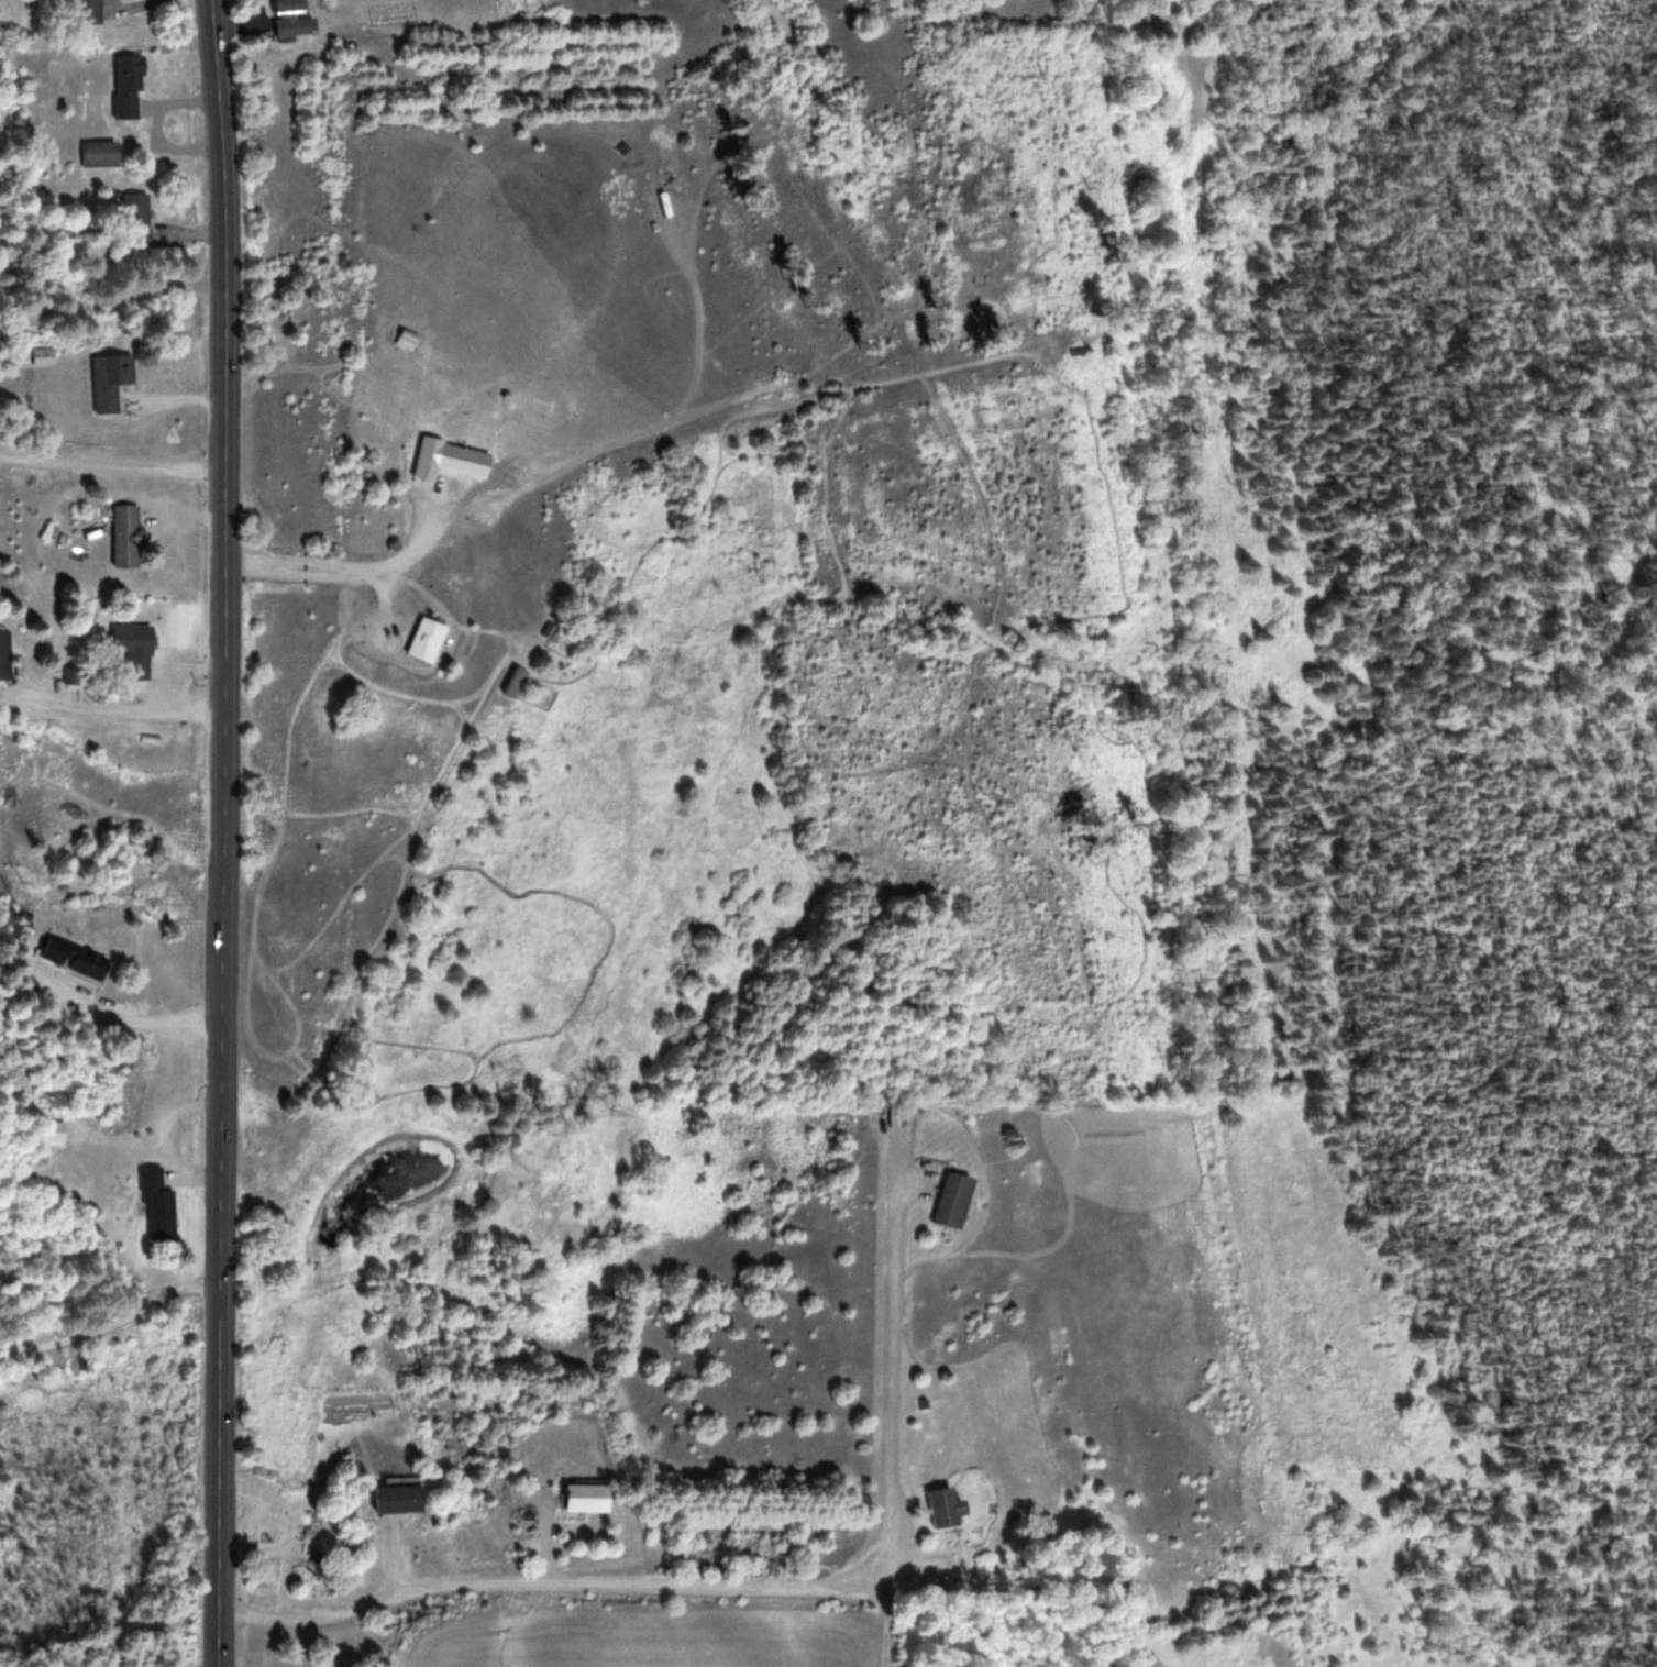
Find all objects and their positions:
park: (1229, 2)
building: (93, 11)
building: (291, 16)
building: (130, 87)
building: (103, 155)
building: (137, 218)
building: (64, 227)
building: (46, 356)
building: (111, 380)
building: (465, 461)
building: (129, 538)
building: (429, 639)
building: (135, 650)
building: (5, 654)
building: (518, 683)
road: (222, 809)
building: (78, 959)
building: (955, 1201)
building: (161, 1204)
road: (109, 1321)
building: (401, 1498)
building: (588, 1498)
building: (946, 1506)
road: (764, 1591)
road: (218, 1643)

